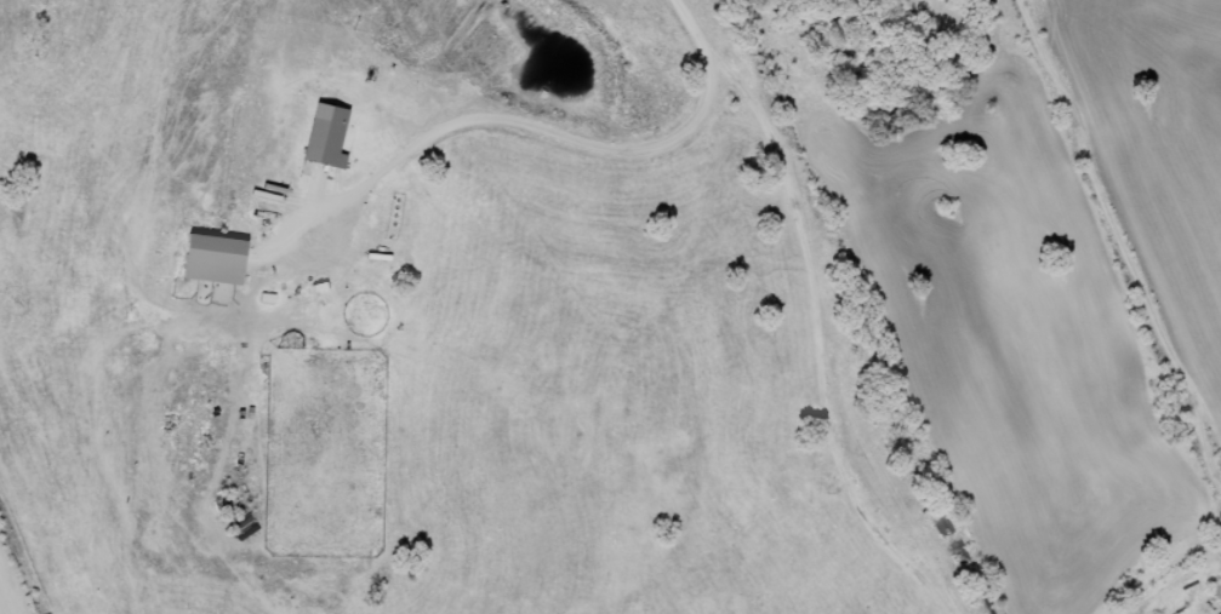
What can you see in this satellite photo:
building: (321, 137)
road: (1117, 214)
building: (264, 299)
road: (70, 469)

